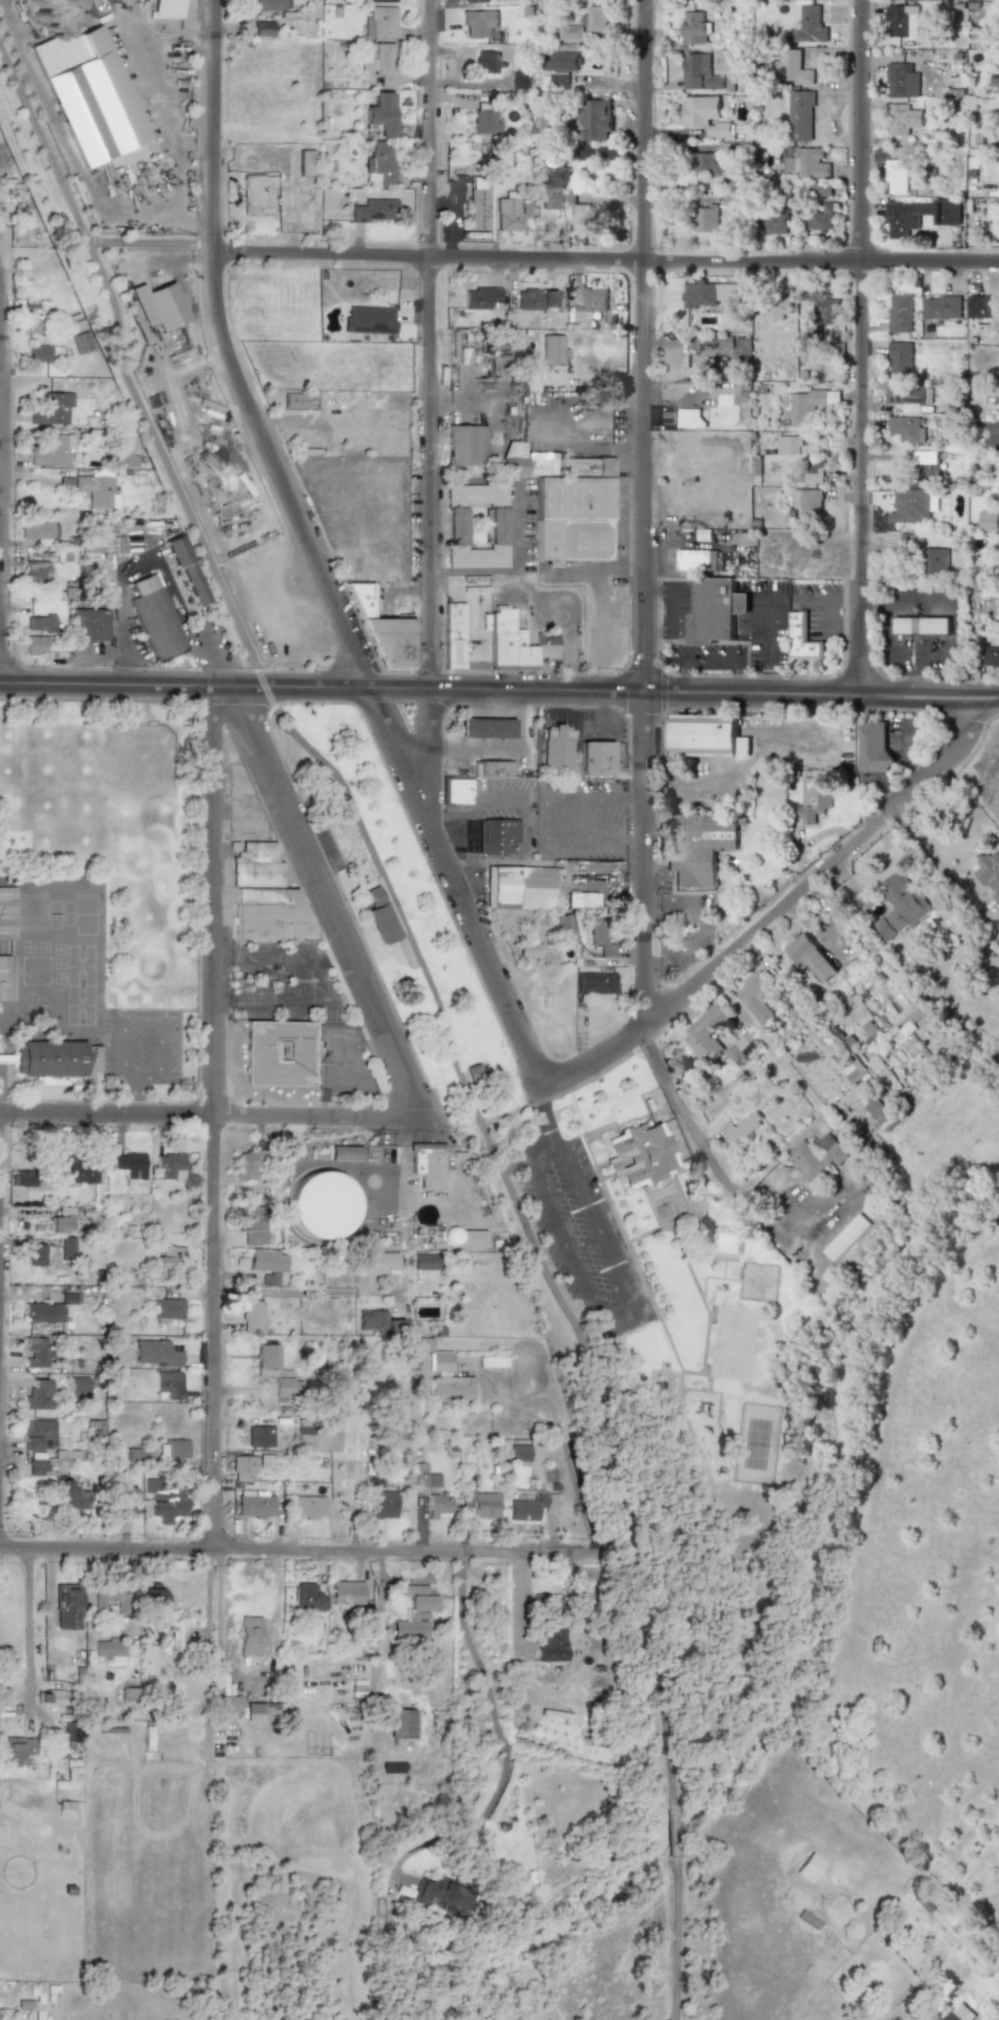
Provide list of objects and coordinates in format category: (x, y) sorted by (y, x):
building: (382, 1)
building: (474, 1)
building: (271, 5)
building: (166, 9)
road: (129, 14)
building: (596, 18)
building: (902, 21)
building: (379, 22)
building: (478, 22)
building: (808, 26)
building: (693, 28)
building: (570, 32)
building: (561, 60)
building: (489, 62)
building: (381, 64)
building: (790, 67)
building: (699, 73)
building: (519, 79)
building: (559, 80)
building: (901, 80)
building: (85, 86)
road: (160, 98)
building: (380, 113)
building: (705, 115)
building: (801, 115)
building: (593, 119)
building: (903, 119)
building: (484, 122)
building: (540, 125)
road: (61, 140)
building: (380, 161)
building: (305, 163)
building: (810, 163)
building: (706, 165)
building: (553, 173)
building: (896, 176)
road: (213, 180)
building: (454, 188)
building: (258, 195)
building: (736, 200)
building: (566, 206)
building: (476, 209)
building: (374, 210)
building: (823, 212)
building: (511, 214)
building: (706, 220)
building: (904, 220)
building: (774, 224)
road: (0, 247)
road: (543, 261)
building: (709, 293)
building: (480, 297)
building: (534, 299)
building: (584, 299)
building: (158, 306)
building: (941, 307)
building: (983, 307)
building: (827, 308)
building: (777, 311)
building: (900, 313)
building: (30, 318)
road: (0, 320)
building: (368, 320)
building: (81, 343)
building: (737, 347)
road: (859, 348)
building: (552, 349)
building: (38, 354)
building: (900, 359)
building: (785, 369)
road: (428, 393)
building: (908, 397)
building: (805, 406)
building: (52, 409)
building: (690, 418)
building: (906, 429)
building: (991, 437)
building: (465, 445)
building: (789, 445)
building: (51, 450)
building: (926, 457)
building: (121, 459)
building: (550, 464)
building: (814, 470)
road: (472, 484)
building: (807, 504)
building: (910, 506)
road: (645, 510)
building: (572, 518)
building: (988, 521)
building: (475, 526)
road: (517, 529)
building: (39, 532)
building: (910, 541)
building: (177, 550)
building: (92, 556)
building: (696, 559)
building: (935, 560)
road: (126, 569)
building: (35, 571)
road: (473, 576)
building: (194, 584)
road: (943, 600)
building: (715, 610)
road: (680, 612)
building: (154, 617)
building: (39, 623)
building: (92, 625)
building: (921, 625)
building: (381, 631)
building: (453, 635)
building: (801, 638)
road: (569, 639)
road: (775, 642)
building: (516, 643)
building: (35, 645)
building: (990, 657)
road: (126, 671)
road: (488, 687)
road: (987, 699)
road: (571, 719)
road: (378, 720)
building: (485, 728)
building: (707, 736)
building: (872, 746)
building: (557, 748)
road: (507, 751)
building: (595, 759)
building: (493, 768)
building: (460, 791)
building: (813, 799)
road: (472, 811)
road: (552, 820)
building: (496, 836)
building: (697, 848)
building: (254, 865)
building: (989, 872)
building: (517, 887)
building: (555, 887)
building: (580, 900)
road: (336, 902)
road: (398, 905)
building: (900, 905)
road: (776, 909)
building: (6, 913)
building: (270, 914)
building: (379, 917)
building: (564, 928)
building: (600, 937)
building: (528, 950)
road: (286, 956)
building: (811, 960)
building: (6, 978)
building: (595, 983)
building: (756, 997)
road: (295, 999)
building: (895, 1004)
building: (920, 1012)
road: (129, 1024)
building: (706, 1032)
building: (277, 1053)
building: (54, 1058)
building: (474, 1072)
building: (854, 1072)
building: (54, 1080)
road: (541, 1093)
building: (875, 1109)
road: (217, 1114)
road: (212, 1117)
building: (741, 1126)
road: (700, 1140)
building: (345, 1153)
building: (640, 1155)
building: (816, 1156)
building: (247, 1164)
building: (128, 1165)
building: (428, 1165)
building: (168, 1166)
building: (75, 1171)
building: (23, 1178)
building: (322, 1206)
building: (59, 1223)
building: (252, 1225)
parking lot: (581, 1232)
building: (846, 1237)
building: (451, 1238)
building: (67, 1248)
building: (34, 1255)
building: (266, 1260)
building: (425, 1262)
building: (381, 1263)
building: (167, 1264)
road: (305, 1290)
park: (612, 1300)
building: (167, 1308)
building: (42, 1313)
building: (252, 1316)
building: (379, 1323)
road: (611, 1323)
building: (421, 1345)
building: (36, 1351)
building: (154, 1353)
building: (265, 1357)
building: (440, 1361)
building: (491, 1362)
building: (169, 1384)
building: (77, 1386)
building: (288, 1388)
building: (451, 1388)
building: (38, 1395)
building: (38, 1434)
building: (258, 1436)
park: (755, 1444)
building: (175, 1449)
building: (517, 1453)
building: (264, 1460)
building: (37, 1467)
building: (243, 1468)
building: (432, 1480)
building: (69, 1495)
building: (166, 1501)
building: (255, 1503)
building: (123, 1504)
building: (481, 1504)
building: (383, 1505)
building: (437, 1505)
building: (530, 1506)
building: (307, 1507)
road: (298, 1552)
building: (346, 1592)
building: (154, 1595)
building: (109, 1597)
building: (306, 1598)
building: (66, 1606)
building: (415, 1612)
road: (28, 1625)
building: (175, 1636)
building: (248, 1636)
building: (550, 1646)
building: (107, 1649)
road: (248, 1678)
building: (52, 1697)
road: (490, 1701)
crop: (890, 1701)
building: (229, 1704)
building: (260, 1712)
building: (401, 1723)
building: (14, 1749)
building: (69, 1775)
road: (673, 1831)
building: (807, 1867)
road: (676, 1939)
building: (960, 2013)

